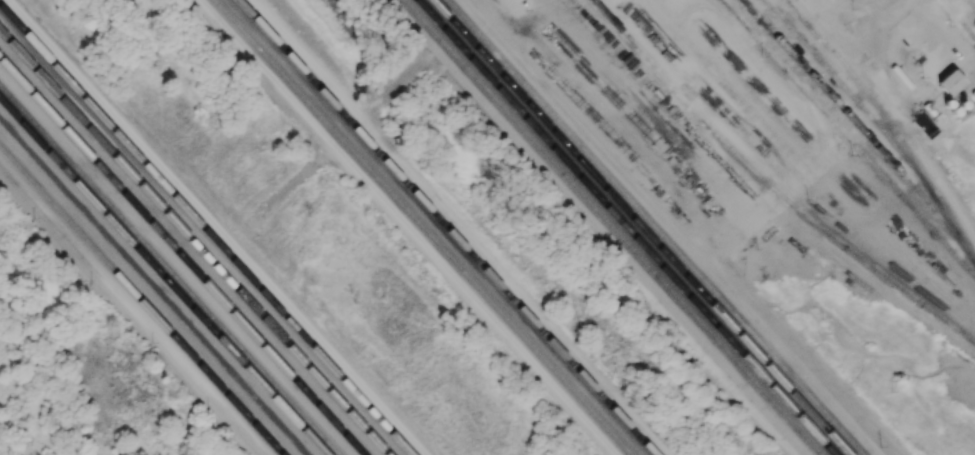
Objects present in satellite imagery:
road: (877, 25)
road: (857, 62)
railway: (845, 85)
railway: (855, 122)
railway: (889, 124)
railway: (849, 137)
railway: (771, 185)
railway: (447, 226)
road: (597, 226)
railway: (424, 227)
railway: (613, 227)
railway: (627, 227)
railway: (642, 227)
railway: (655, 227)
railway: (205, 230)
railway: (195, 241)
railway: (180, 256)
railway: (170, 269)
railway: (164, 275)
railway: (547, 276)
railway: (142, 299)

